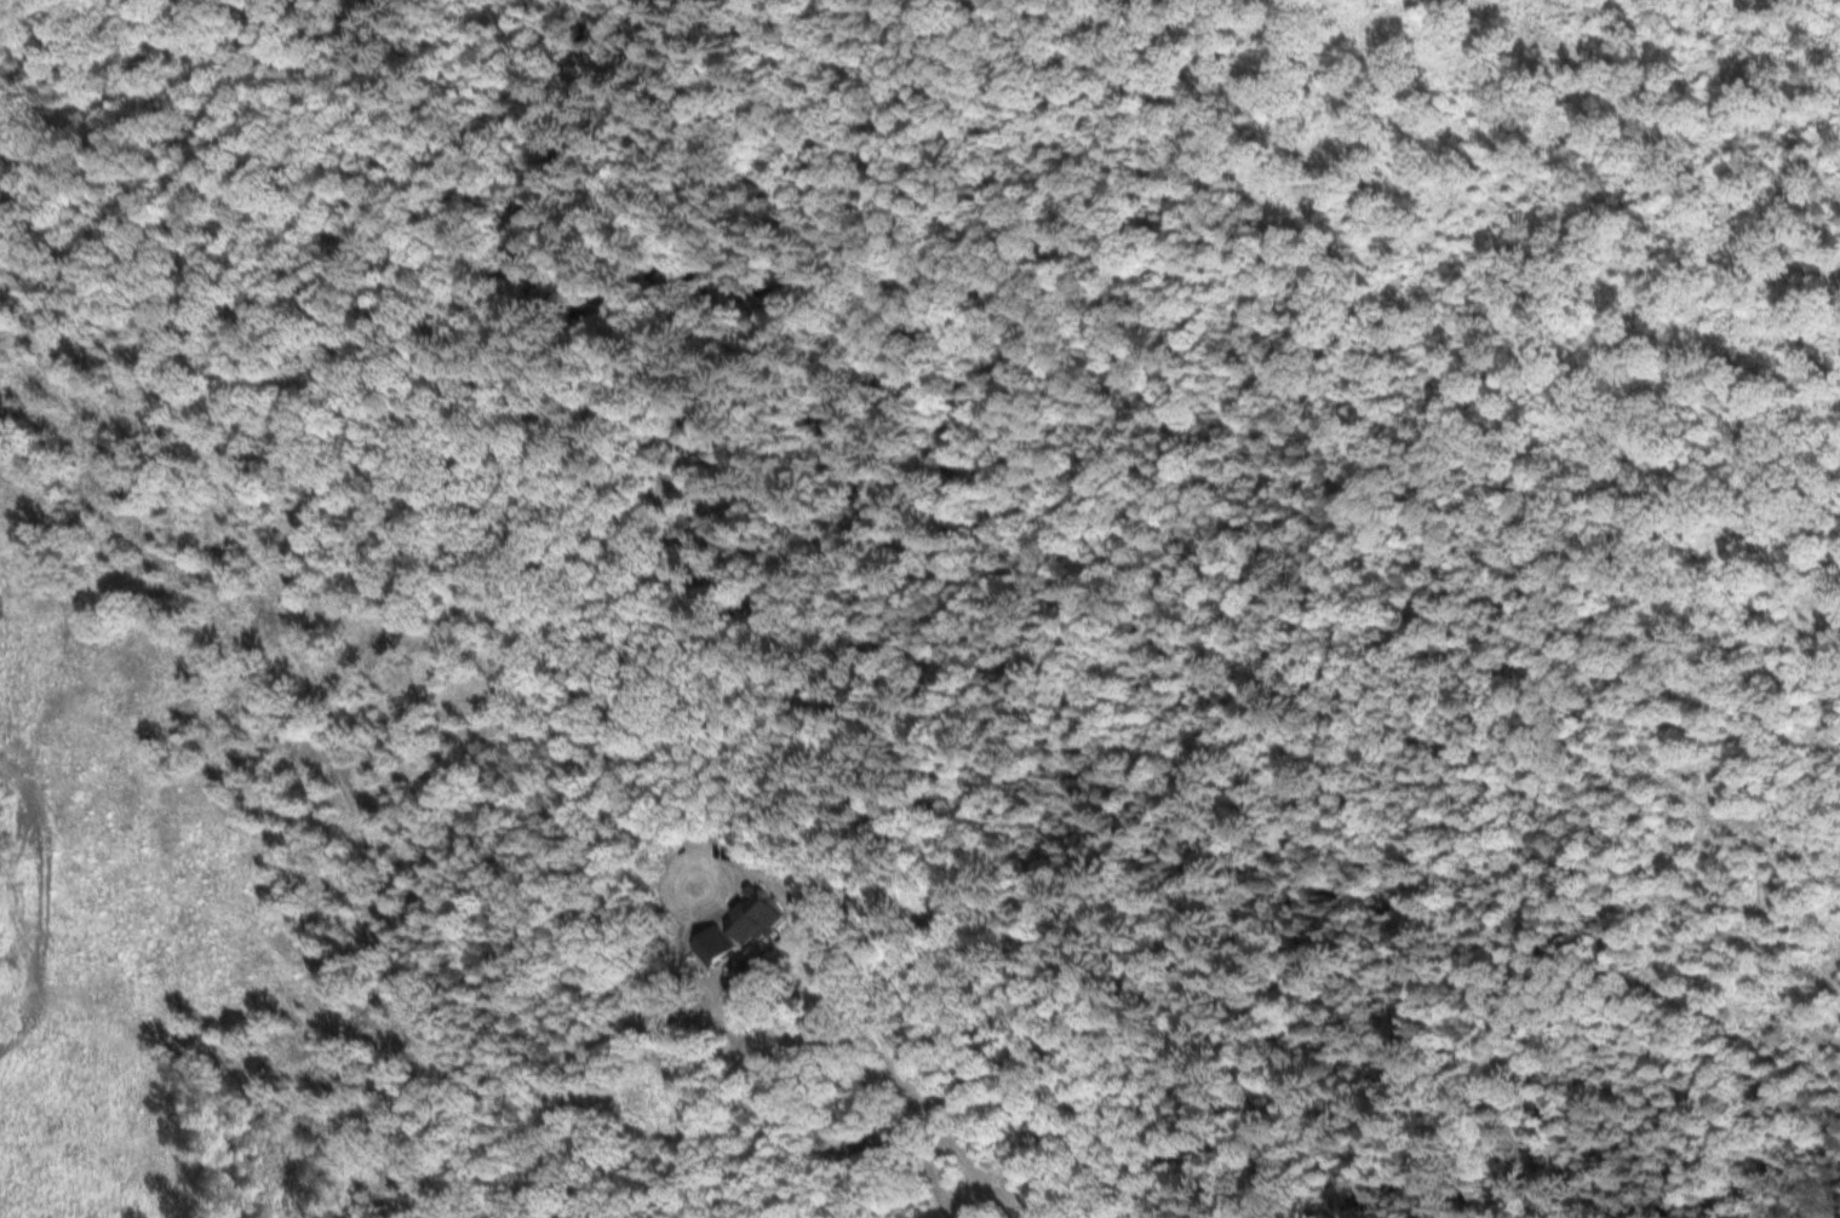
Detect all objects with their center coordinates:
road: (1417, 375)
road: (1342, 467)
road: (526, 998)
road: (676, 1015)
building: (859, 1138)
road: (619, 1148)
road: (927, 1168)

